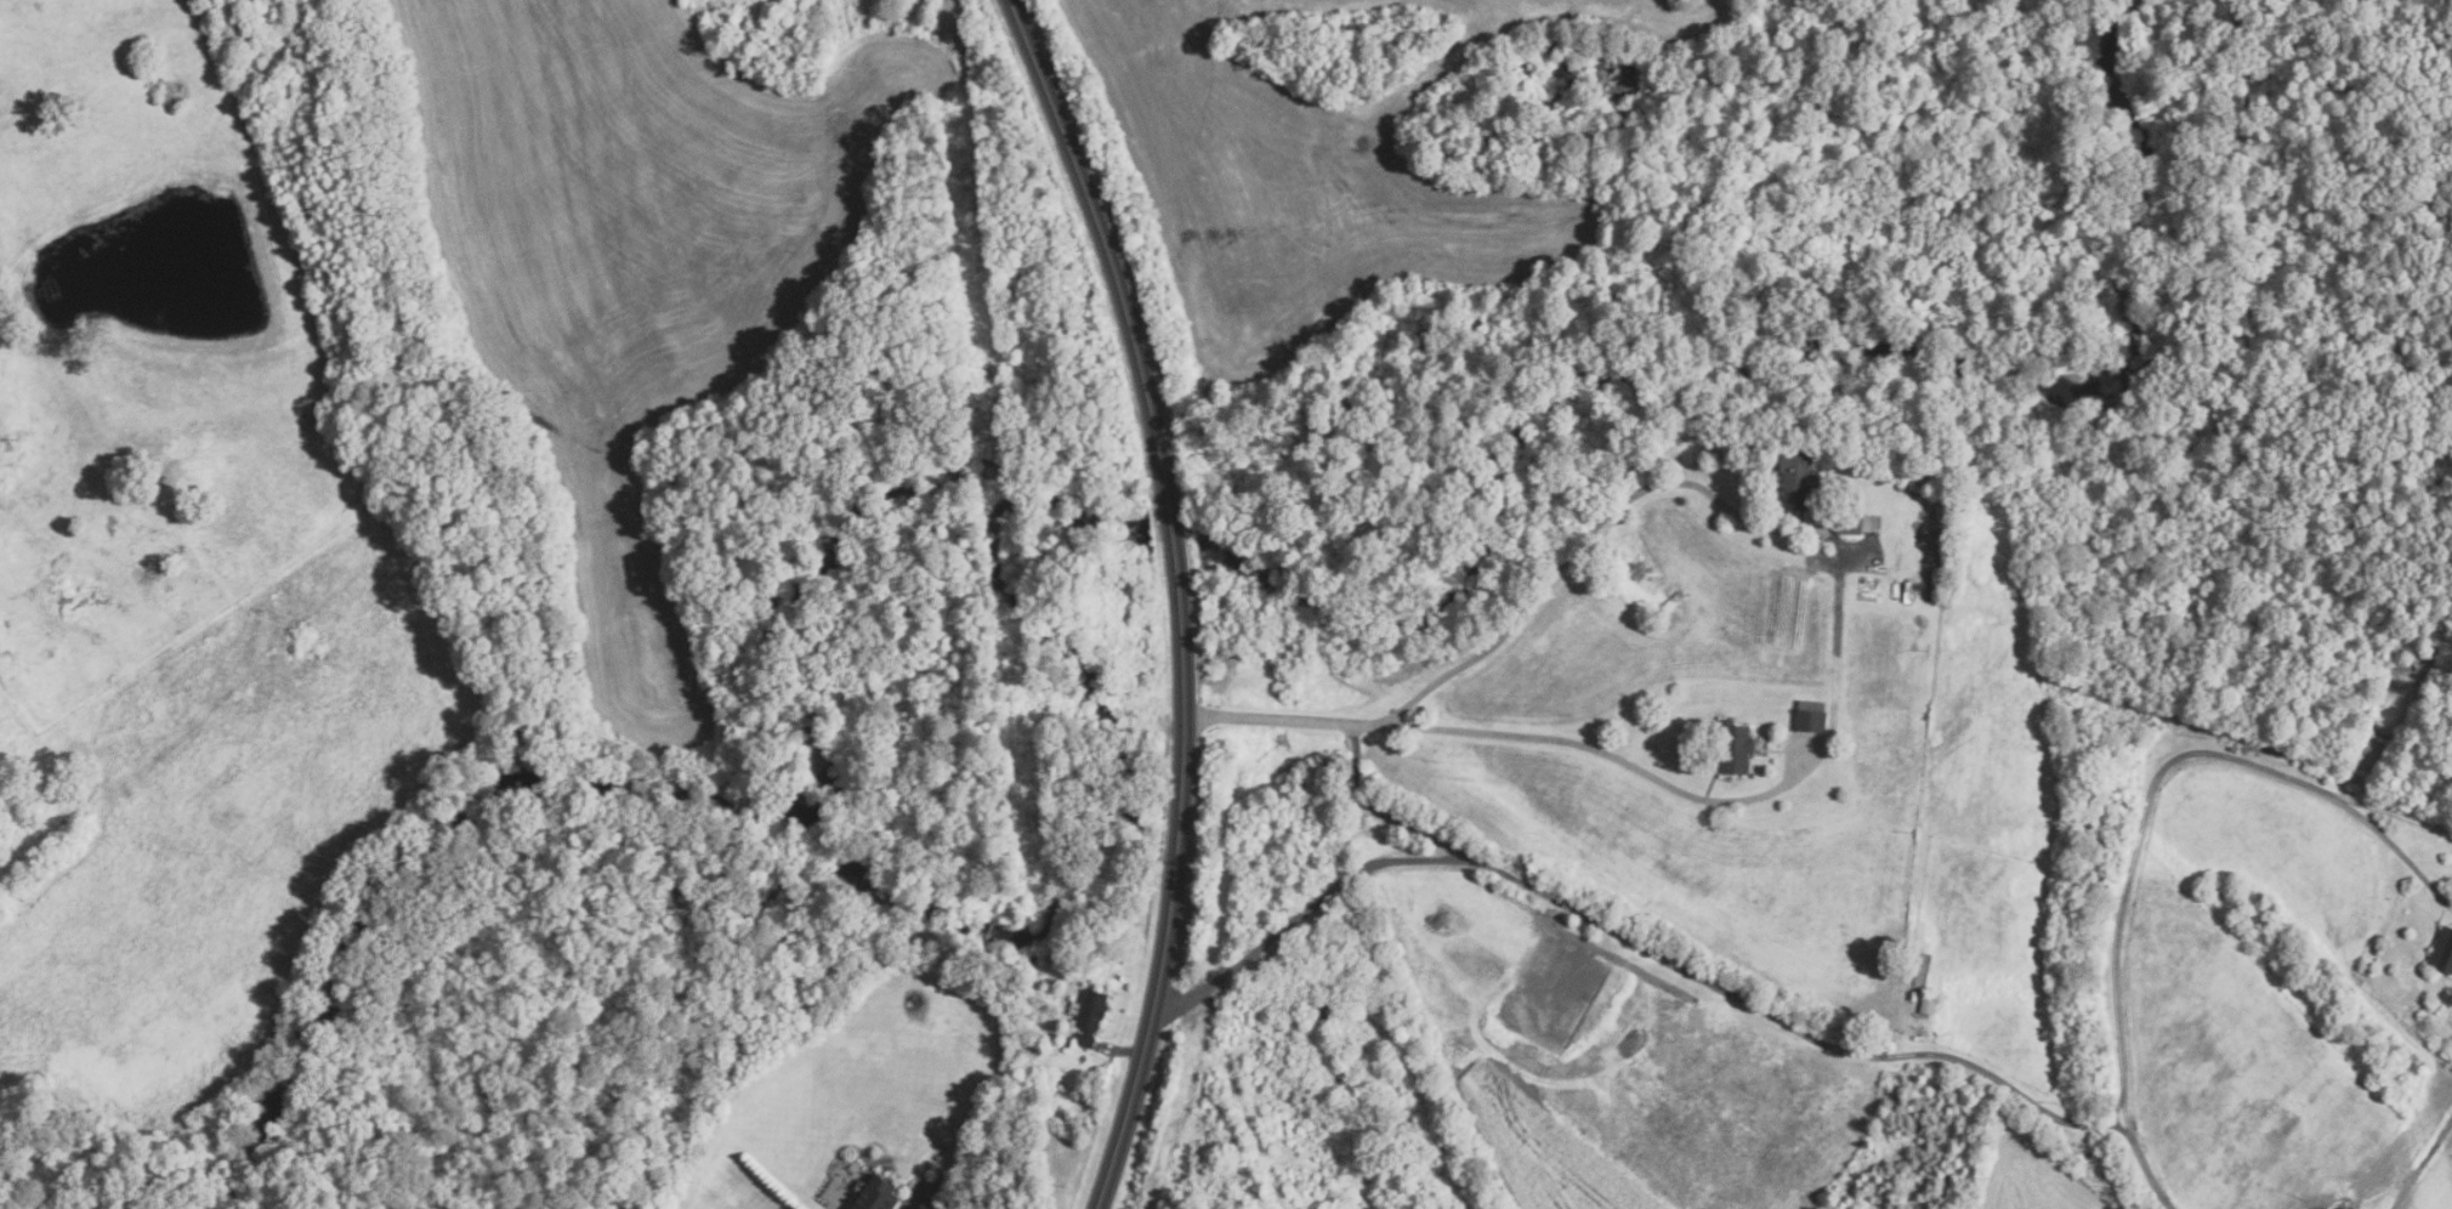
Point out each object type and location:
building: (1798, 477)
building: (1919, 486)
building: (1869, 523)
building: (1849, 528)
building: (1942, 535)
road: (1180, 596)
road: (1834, 696)
building: (1811, 716)
building: (1735, 747)
building: (1750, 774)
building: (2354, 787)
road: (2388, 804)
road: (1384, 813)
road: (2389, 844)
road: (2132, 850)
road: (1460, 907)
road: (1266, 942)
building: (2444, 950)
building: (2368, 966)
building: (1913, 995)
road: (1746, 999)
building: (1929, 1004)
building: (1542, 1006)
building: (1089, 1016)
road: (1122, 1052)
road: (1771, 1063)
building: (766, 1099)
crop: (1539, 1145)
building: (1778, 1148)
road: (2144, 1160)
building: (876, 1194)
road: (924, 1202)

